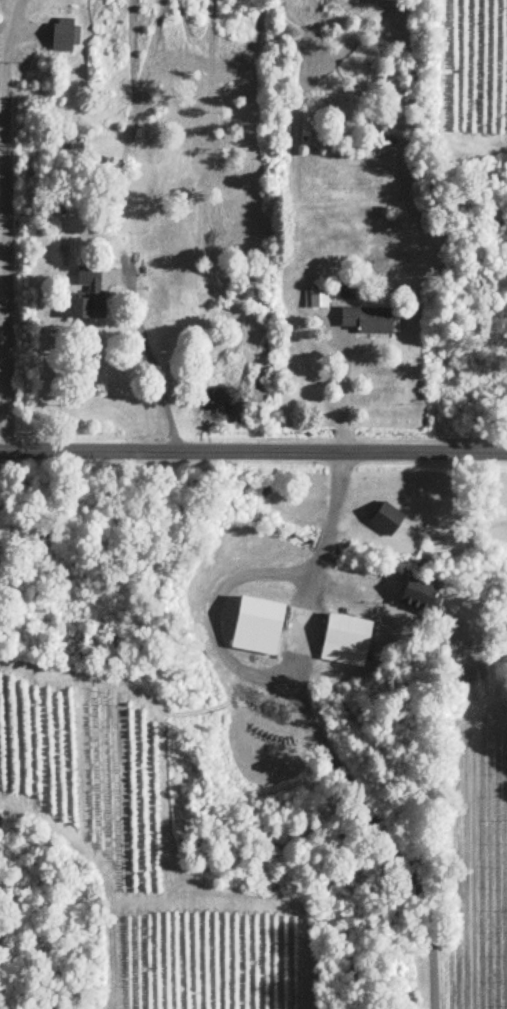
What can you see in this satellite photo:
building: (66, 35)
building: (148, 107)
road: (7, 224)
building: (90, 293)
building: (368, 321)
road: (154, 363)
road: (345, 393)
road: (253, 452)
building: (257, 625)
road: (310, 631)
building: (346, 640)
road: (291, 687)

